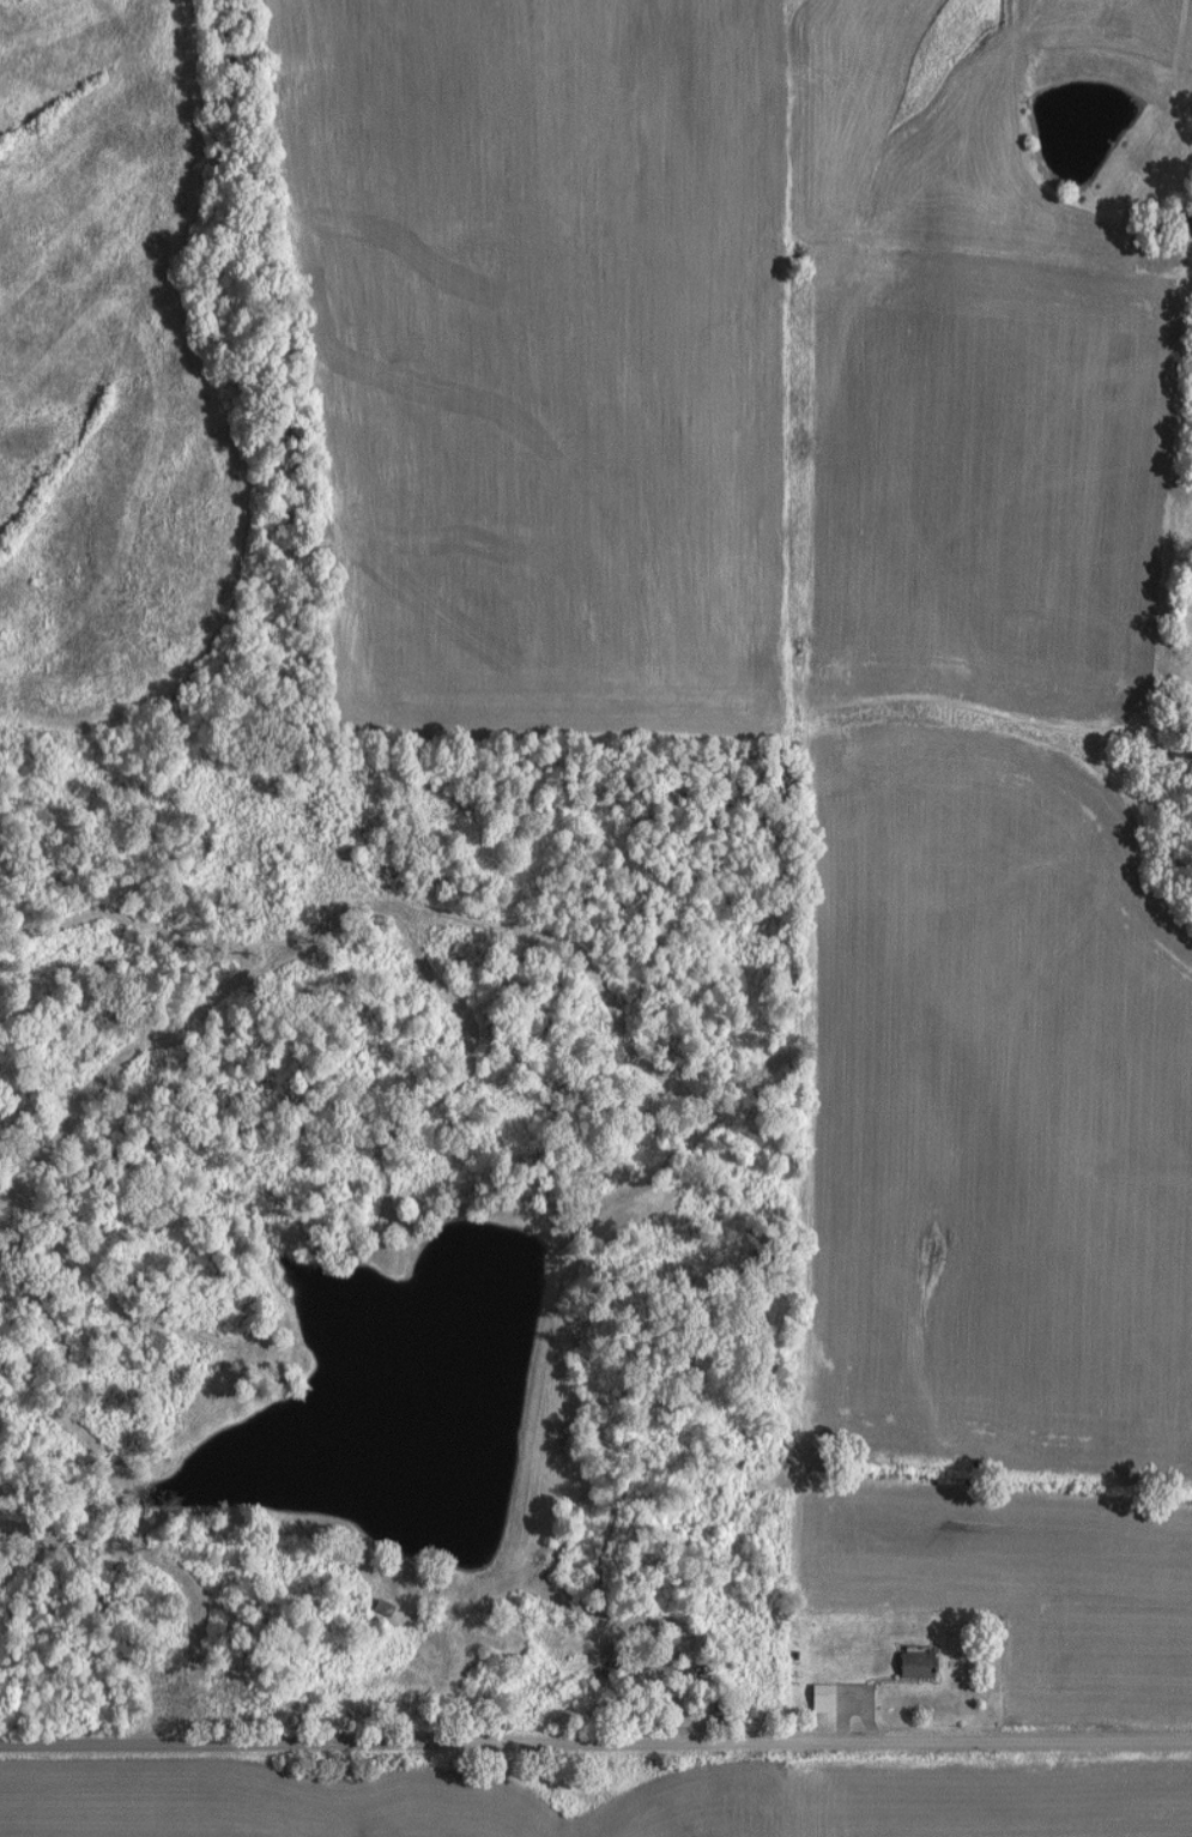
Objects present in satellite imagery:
road: (637, 1612)
building: (906, 1666)
building: (815, 1694)
road: (595, 1742)

